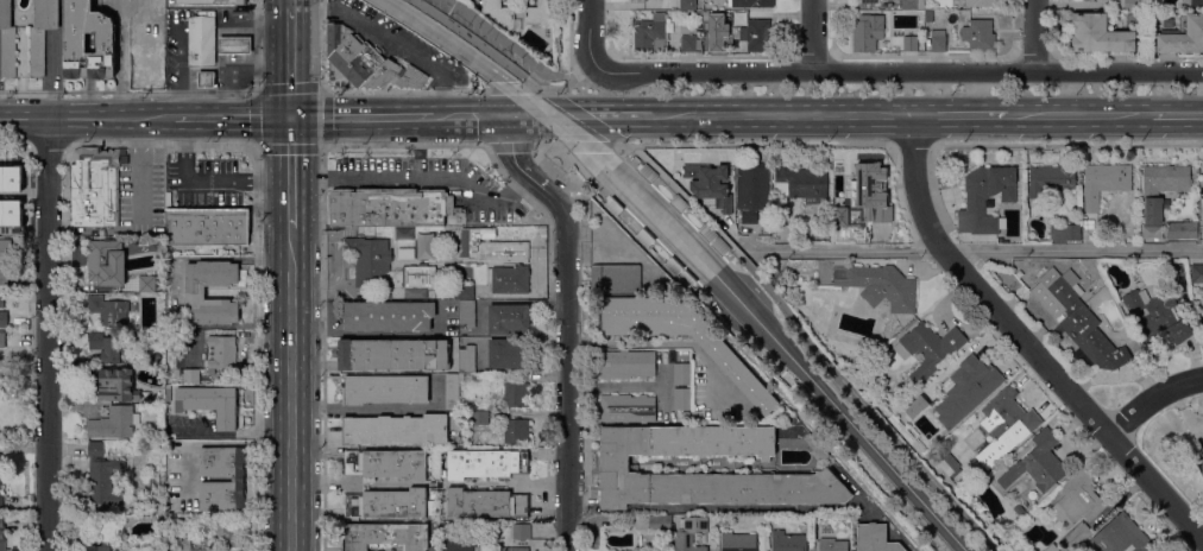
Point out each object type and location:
building: (643, 0)
building: (1088, 0)
building: (869, 1)
road: (291, 2)
building: (757, 2)
building: (980, 2)
building: (1193, 4)
building: (687, 5)
building: (912, 5)
building: (1130, 5)
building: (542, 13)
building: (500, 14)
building: (928, 17)
building: (40, 33)
road: (587, 33)
road: (812, 34)
building: (1100, 34)
building: (756, 36)
building: (865, 36)
building: (978, 36)
road: (1035, 36)
building: (1183, 36)
building: (650, 37)
building: (6, 42)
building: (88, 42)
building: (201, 42)
building: (689, 44)
building: (909, 44)
building: (937, 44)
road: (480, 45)
building: (713, 45)
building: (234, 46)
road: (256, 46)
building: (363, 59)
road: (124, 61)
road: (291, 61)
road: (594, 64)
building: (146, 65)
road: (897, 70)
building: (206, 80)
road: (555, 87)
road: (508, 89)
road: (360, 90)
road: (257, 93)
road: (361, 116)
road: (471, 116)
traffic signals: (510, 116)
road: (529, 116)
traffic signals: (548, 116)
road: (581, 116)
road: (599, 116)
road: (783, 116)
road: (963, 116)
road: (1079, 116)
road: (1177, 116)
road: (77, 118)
road: (223, 118)
traffic signals: (291, 118)
road: (1065, 144)
road: (405, 145)
road: (546, 145)
road: (586, 145)
road: (754, 145)
road: (509, 146)
road: (913, 146)
road: (291, 172)
building: (647, 172)
building: (1079, 177)
building: (7, 178)
building: (1050, 179)
parking lot: (207, 180)
parking lot: (434, 183)
building: (1103, 183)
building: (800, 184)
building: (1161, 184)
building: (710, 185)
building: (95, 186)
building: (751, 191)
building: (867, 196)
road: (673, 199)
building: (975, 201)
building: (678, 203)
building: (612, 205)
building: (389, 208)
road: (625, 215)
building: (7, 220)
building: (207, 227)
building: (1202, 228)
building: (1180, 230)
building: (707, 232)
building: (1064, 233)
building: (644, 236)
building: (143, 242)
road: (257, 243)
building: (719, 245)
building: (490, 247)
road: (981, 251)
building: (405, 253)
building: (369, 261)
building: (106, 262)
building: (672, 265)
building: (4, 266)
building: (774, 266)
building: (1197, 273)
building: (417, 277)
building: (685, 278)
building: (508, 279)
building: (615, 279)
building: (151, 284)
building: (880, 286)
building: (464, 291)
building: (195, 292)
building: (414, 292)
building: (1, 303)
building: (109, 311)
building: (388, 316)
building: (1155, 316)
building: (508, 318)
building: (1077, 318)
building: (2, 319)
building: (1202, 321)
road: (566, 322)
road: (46, 334)
building: (2, 340)
road: (806, 341)
road: (661, 343)
road: (1026, 343)
building: (114, 348)
building: (927, 349)
building: (221, 353)
building: (392, 355)
building: (508, 355)
building: (466, 360)
building: (626, 365)
building: (735, 369)
building: (681, 374)
building: (191, 376)
building: (477, 381)
building: (119, 385)
road: (291, 389)
building: (384, 389)
road: (616, 389)
building: (966, 389)
building: (451, 392)
building: (168, 394)
building: (516, 394)
building: (681, 399)
road: (1152, 401)
building: (209, 404)
building: (626, 408)
road: (374, 410)
building: (684, 417)
building: (479, 418)
building: (114, 424)
building: (1004, 426)
building: (395, 430)
building: (516, 432)
building: (814, 448)
building: (1039, 463)
building: (1199, 463)
building: (385, 464)
building: (483, 464)
building: (949, 465)
building: (615, 468)
building: (980, 476)
building: (101, 479)
building: (238, 479)
building: (433, 495)
building: (1077, 499)
building: (160, 500)
building: (1, 502)
building: (391, 503)
building: (484, 503)
building: (160, 507)
road: (748, 508)
building: (1015, 513)
building: (653, 522)
building: (225, 530)
building: (521, 532)
building: (688, 532)
building: (2, 534)
building: (385, 537)
building: (1076, 537)
building: (1121, 537)
building: (874, 538)
building: (456, 541)
building: (738, 541)
building: (788, 541)
building: (182, 544)
building: (832, 545)
building: (1050, 547)
building: (97, 549)
building: (511, 550)

